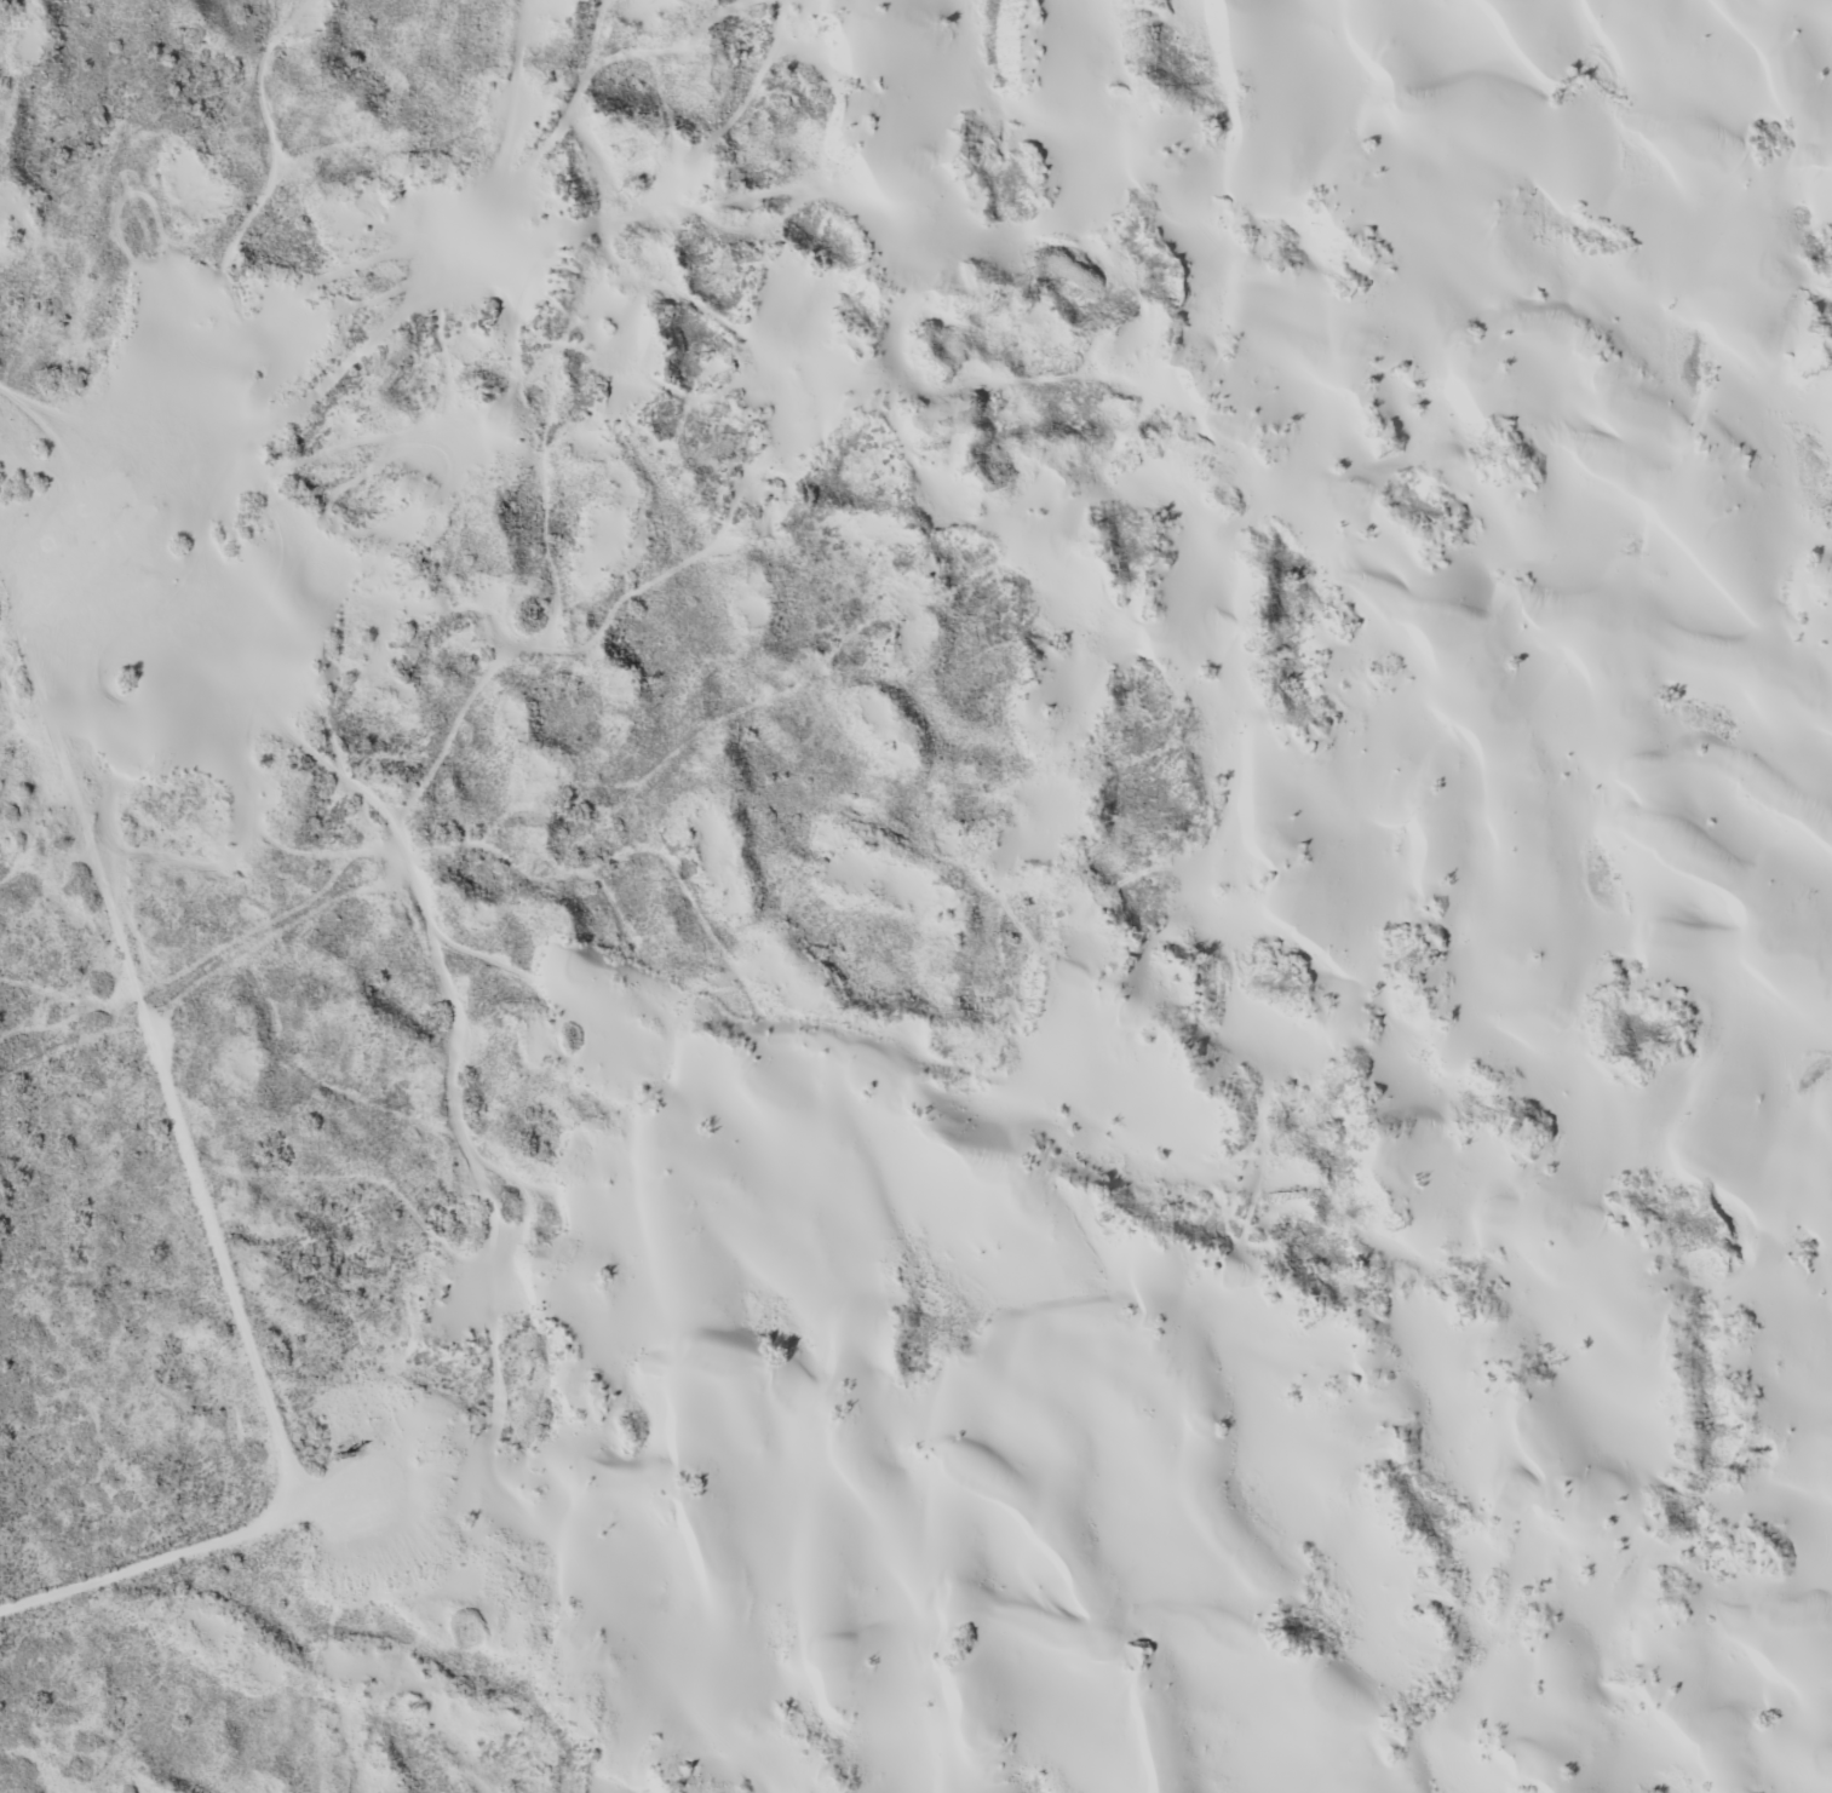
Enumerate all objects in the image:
road: (150, 1554)

